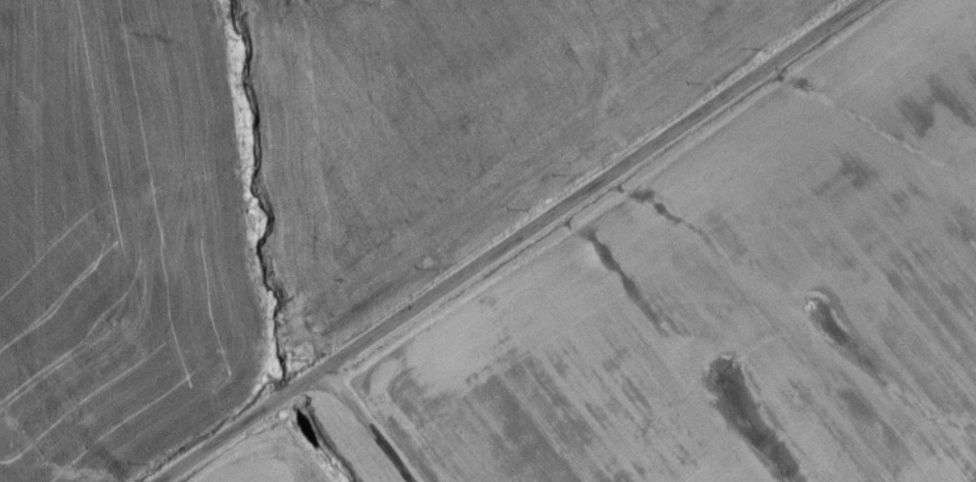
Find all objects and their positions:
road: (515, 243)
road: (363, 429)

